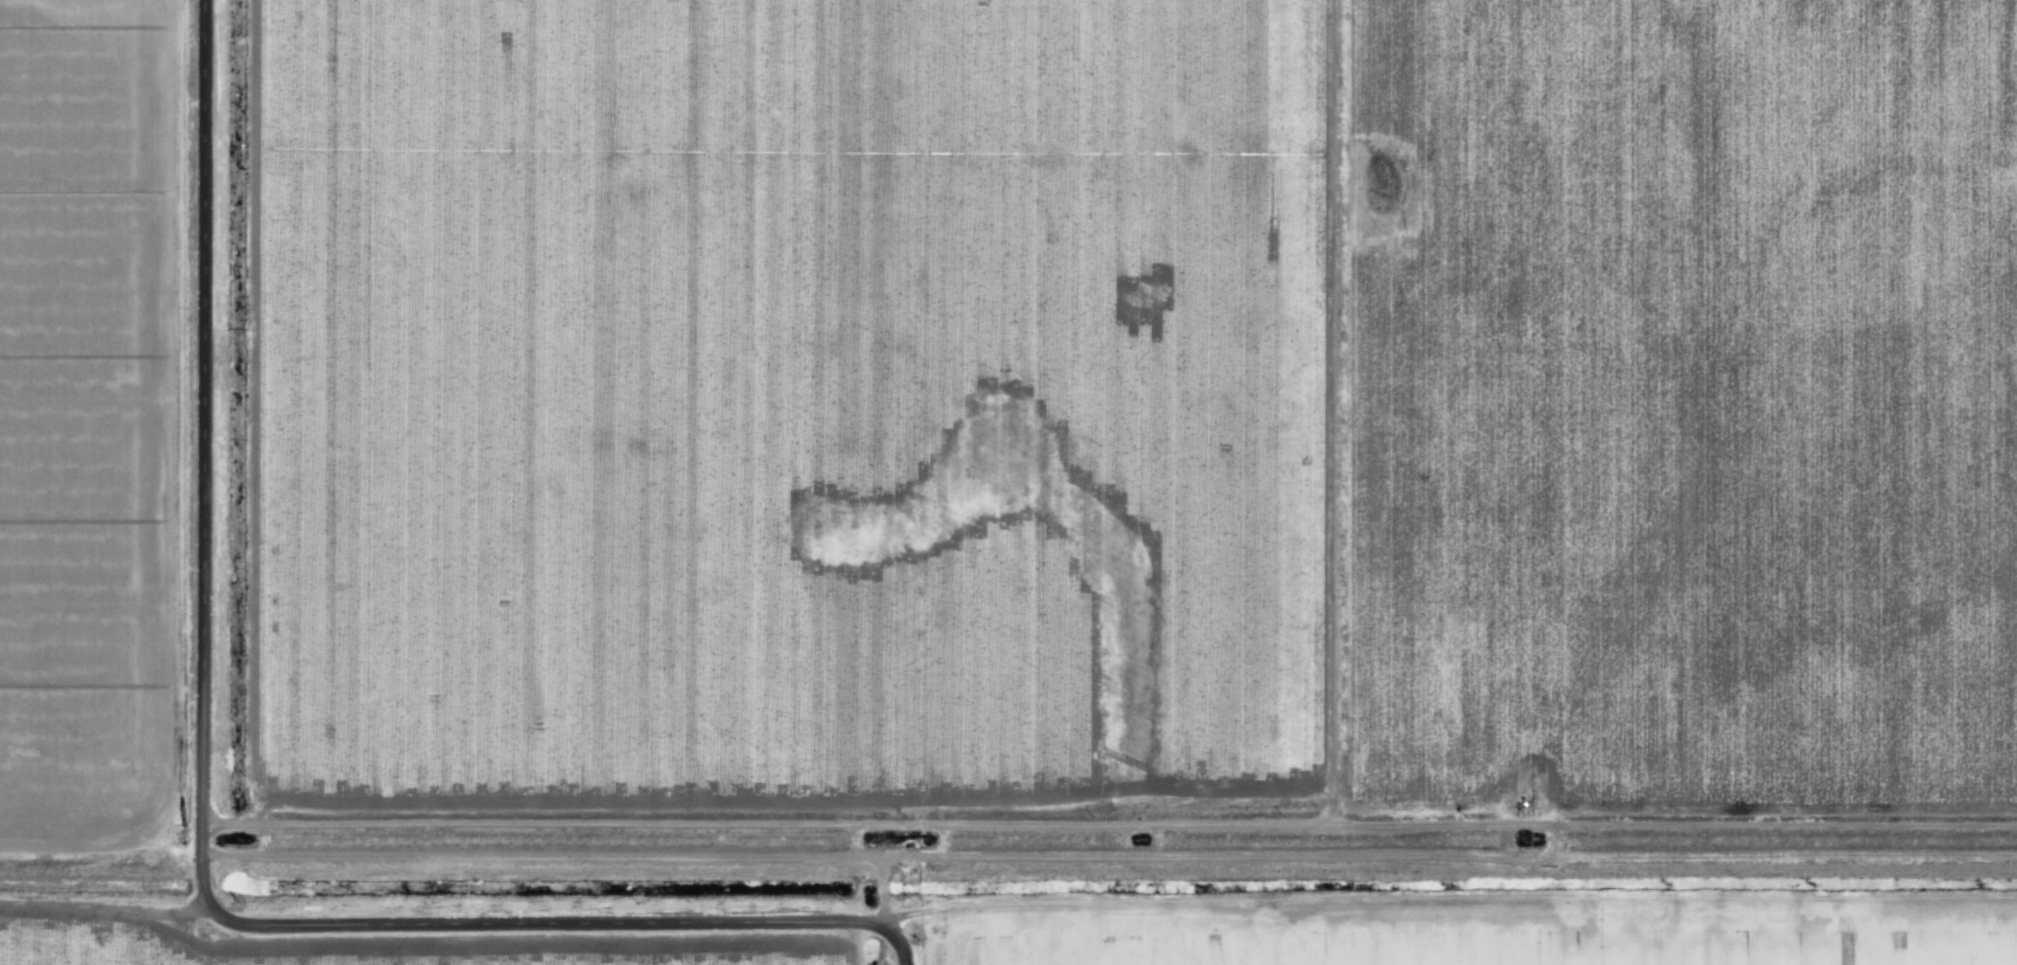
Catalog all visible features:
crop: (776, 396)
road: (206, 397)
crop: (1690, 403)
crop: (88, 421)
road: (494, 918)
crop: (1475, 932)
road: (898, 939)
crop: (373, 945)

